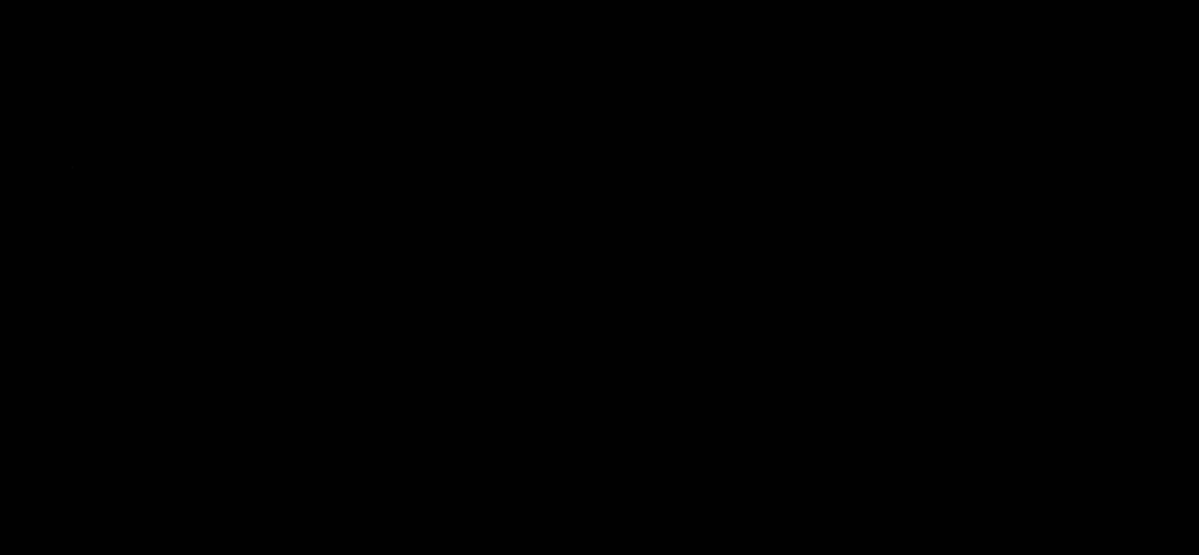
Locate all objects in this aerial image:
river: (223, 69)

